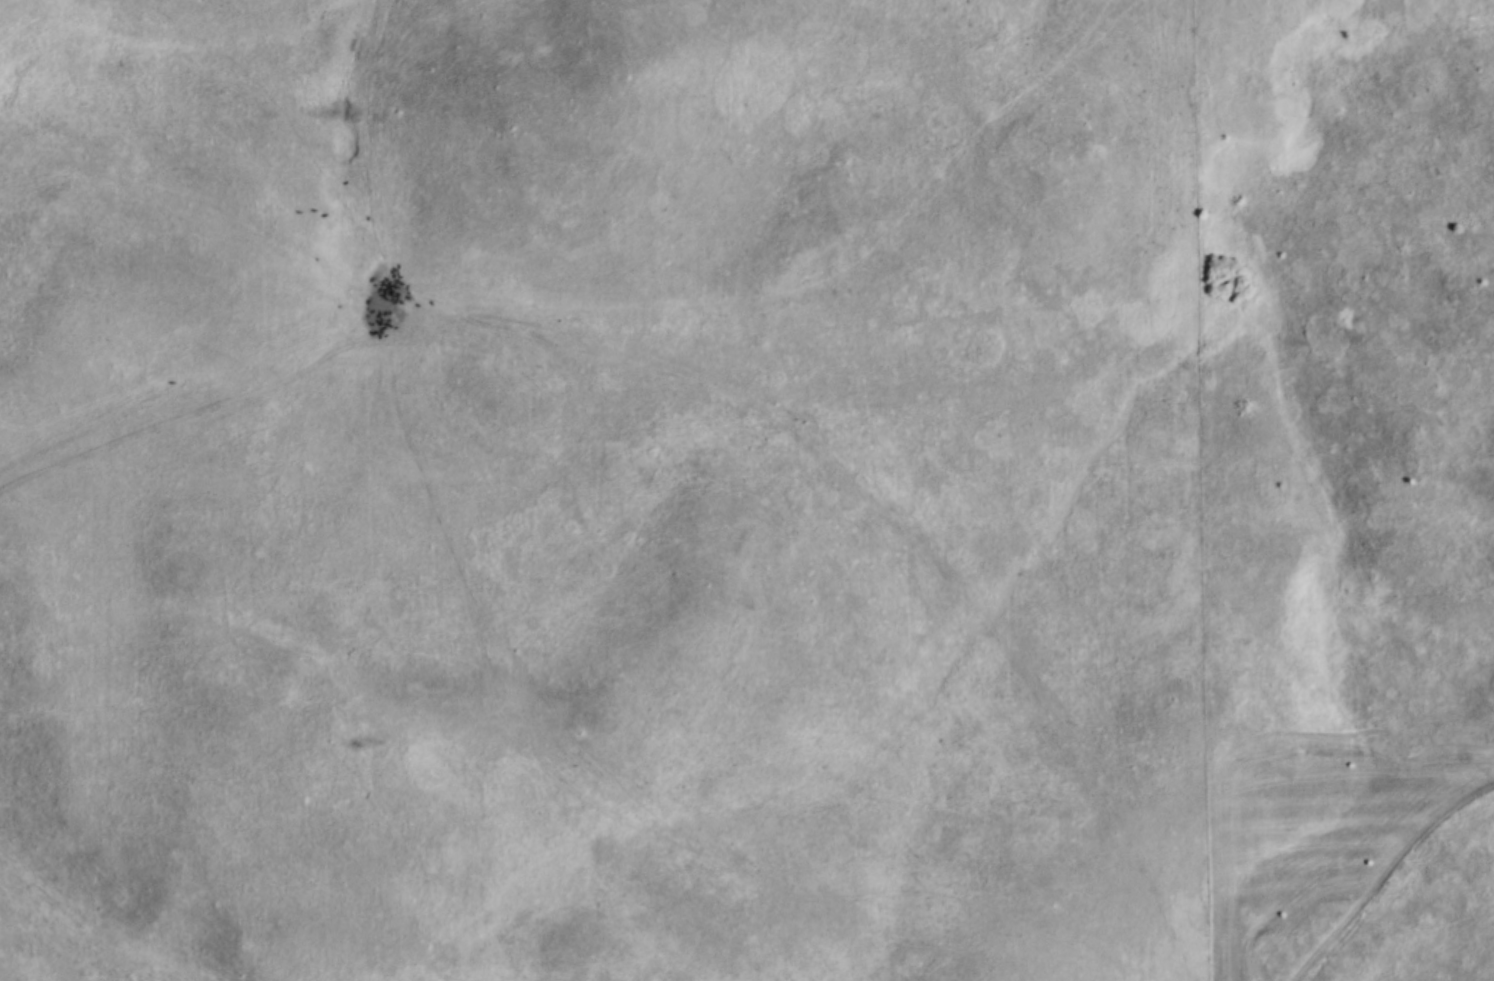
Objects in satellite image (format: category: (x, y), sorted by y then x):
road: (1344, 860)

